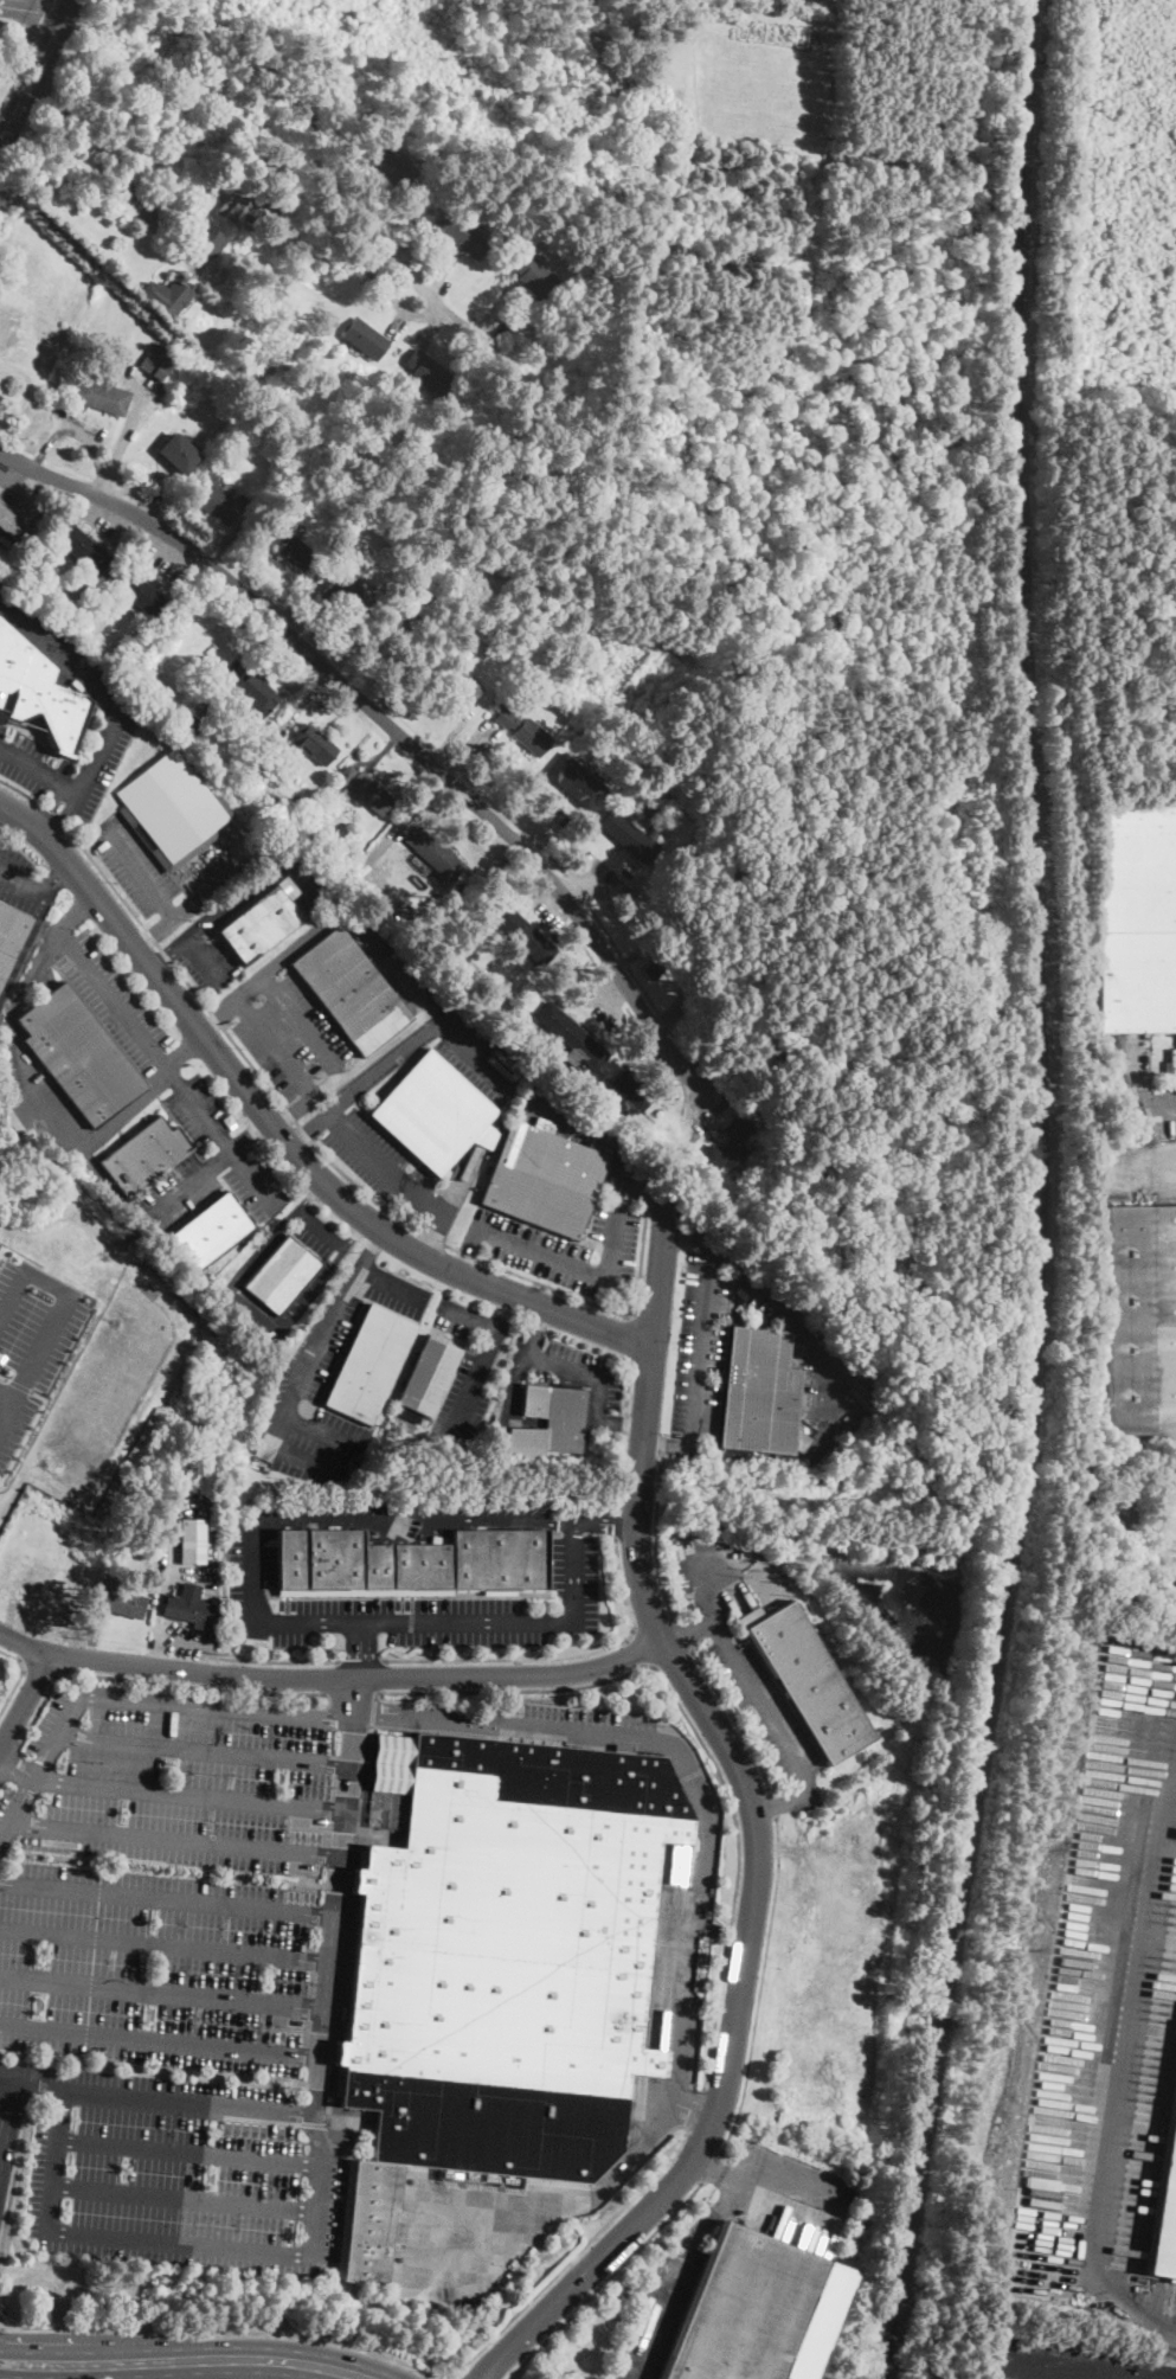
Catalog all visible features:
crop: (815, 1)
road: (44, 2)
road: (38, 17)
road: (24, 57)
road: (34, 70)
crop: (759, 82)
building: (638, 86)
road: (311, 123)
road: (265, 140)
building: (396, 166)
road: (133, 188)
road: (372, 207)
building: (245, 210)
building: (463, 236)
building: (207, 237)
building: (533, 274)
road: (449, 277)
building: (168, 295)
road: (390, 295)
road: (507, 315)
road: (398, 323)
road: (438, 329)
building: (7, 331)
building: (366, 340)
building: (72, 344)
building: (154, 366)
building: (265, 366)
building: (428, 372)
building: (52, 389)
road: (28, 391)
building: (99, 396)
road: (82, 432)
road: (128, 434)
building: (180, 454)
road: (148, 481)
road: (8, 487)
parking lot: (11, 492)
road: (85, 496)
building: (217, 499)
building: (0, 500)
road: (178, 508)
parking lot: (101, 519)
building: (13, 527)
road: (172, 543)
parking lot: (5, 545)
building: (81, 546)
road: (168, 550)
building: (296, 551)
parking lot: (165, 558)
road: (248, 558)
building: (342, 590)
building: (139, 592)
road: (311, 621)
building: (384, 622)
building: (482, 622)
building: (90, 633)
road: (342, 642)
building: (515, 653)
road: (59, 654)
road: (243, 656)
parking lot: (71, 660)
crop: (632, 672)
building: (456, 682)
building: (37, 692)
building: (256, 695)
road: (368, 705)
road: (301, 706)
building: (205, 708)
road: (467, 710)
building: (193, 725)
building: (523, 730)
building: (314, 744)
road: (465, 744)
road: (379, 752)
road: (99, 754)
building: (262, 759)
road: (40, 771)
building: (249, 772)
building: (345, 775)
building: (576, 781)
road: (20, 790)
building: (369, 793)
road: (50, 808)
building: (172, 810)
road: (51, 814)
road: (59, 816)
road: (415, 819)
road: (545, 823)
building: (240, 835)
building: (629, 836)
building: (316, 840)
building: (435, 854)
road: (137, 868)
parking lot: (600, 873)
parking lot: (162, 874)
building: (356, 874)
road: (596, 876)
road: (57, 879)
parking lot: (23, 881)
road: (25, 883)
road: (546, 885)
road: (581, 887)
road: (210, 889)
parking lot: (547, 909)
road: (550, 909)
road: (76, 911)
road: (207, 918)
building: (1138, 919)
building: (263, 923)
road: (154, 931)
building: (11, 936)
building: (527, 937)
parking lot: (210, 943)
road: (25, 948)
road: (167, 950)
road: (204, 957)
road: (630, 958)
building: (654, 966)
road: (393, 969)
road: (265, 973)
road: (603, 986)
building: (351, 990)
parking lot: (105, 996)
parking lot: (597, 1003)
road: (304, 1025)
parking lot: (289, 1033)
building: (572, 1035)
road: (660, 1043)
road: (12, 1044)
road: (275, 1047)
road: (476, 1054)
building: (78, 1056)
parking lot: (477, 1059)
parking lot: (662, 1067)
road: (166, 1069)
road: (351, 1069)
road: (668, 1070)
road: (687, 1071)
road: (362, 1082)
road: (1143, 1083)
building: (632, 1089)
road: (143, 1092)
parking lot: (39, 1095)
road: (702, 1104)
parking lot: (705, 1107)
parking lot: (1159, 1109)
building: (435, 1112)
road: (585, 1130)
road: (279, 1135)
road: (250, 1136)
building: (727, 1147)
building: (144, 1155)
parking lot: (380, 1160)
parking lot: (212, 1161)
road: (1152, 1162)
road: (384, 1165)
road: (338, 1167)
parking lot: (1140, 1168)
road: (189, 1180)
building: (544, 1180)
road: (111, 1186)
road: (645, 1188)
railway: (1037, 1194)
road: (311, 1195)
road: (451, 1200)
road: (322, 1229)
road: (687, 1231)
building: (211, 1232)
parking lot: (565, 1245)
road: (343, 1249)
road: (371, 1249)
road: (469, 1251)
road: (592, 1270)
road: (746, 1271)
parking lot: (239, 1276)
building: (283, 1276)
road: (243, 1295)
road: (56, 1312)
road: (502, 1312)
building: (1140, 1320)
parking lot: (709, 1328)
road: (327, 1329)
road: (631, 1336)
parking lot: (31, 1340)
road: (699, 1341)
road: (484, 1357)
building: (369, 1365)
parking lot: (328, 1371)
parking lot: (467, 1373)
road: (2, 1377)
road: (591, 1377)
road: (513, 1378)
building: (426, 1379)
road: (17, 1384)
building: (759, 1392)
road: (5, 1396)
parking lot: (603, 1415)
building: (548, 1422)
road: (630, 1423)
road: (26, 1431)
road: (323, 1432)
building: (391, 1432)
road: (624, 1432)
road: (823, 1437)
road: (667, 1443)
building: (1164, 1509)
road: (412, 1522)
road: (604, 1524)
road: (616, 1524)
road: (656, 1538)
road: (210, 1540)
building: (192, 1541)
building: (118, 1558)
building: (293, 1559)
building: (497, 1559)
parking lot: (1167, 1559)
building: (347, 1562)
road: (169, 1565)
parking lot: (574, 1566)
building: (423, 1567)
road: (741, 1569)
building: (121, 1599)
building: (189, 1608)
road: (14, 1615)
road: (411, 1621)
road: (689, 1630)
road: (94, 1635)
road: (682, 1635)
parking lot: (738, 1647)
road: (642, 1648)
road: (362, 1649)
road: (559, 1656)
road: (359, 1660)
road: (277, 1661)
road: (39, 1667)
road: (740, 1667)
road: (19, 1676)
road: (332, 1679)
building: (808, 1680)
road: (155, 1681)
road: (352, 1693)
road: (135, 1699)
road: (25, 1703)
road: (439, 1718)
road: (734, 1719)
parking lot: (587, 1726)
road: (589, 1734)
road: (699, 1736)
road: (206, 1751)
road: (9, 1761)
road: (17, 1769)
road: (192, 1795)
road: (791, 1800)
road: (772, 1806)
building: (396, 1820)
road: (754, 1822)
road: (178, 1839)
road: (786, 1847)
parking lot: (165, 1878)
road: (339, 1897)
road: (168, 1898)
road: (166, 1943)
building: (516, 1964)
road: (348, 1987)
road: (760, 1987)
road: (163, 1992)
parking lot: (1110, 2021)
road: (161, 2041)
road: (680, 2059)
road: (1125, 2067)
road: (152, 2070)
road: (158, 2101)
road: (4, 2107)
road: (696, 2109)
road: (695, 2114)
road: (191, 2150)
road: (56, 2161)
road: (712, 2167)
parking lot: (179, 2172)
road: (718, 2172)
road: (784, 2179)
road: (15, 2185)
road: (320, 2186)
road: (186, 2197)
building: (1165, 2204)
road: (711, 2217)
building: (371, 2224)
road: (181, 2243)
road: (603, 2279)
building: (745, 2309)
parking lot: (660, 2314)
road: (658, 2316)
road: (396, 2359)
road: (185, 2360)
building: (1068, 2365)
road: (452, 2377)

